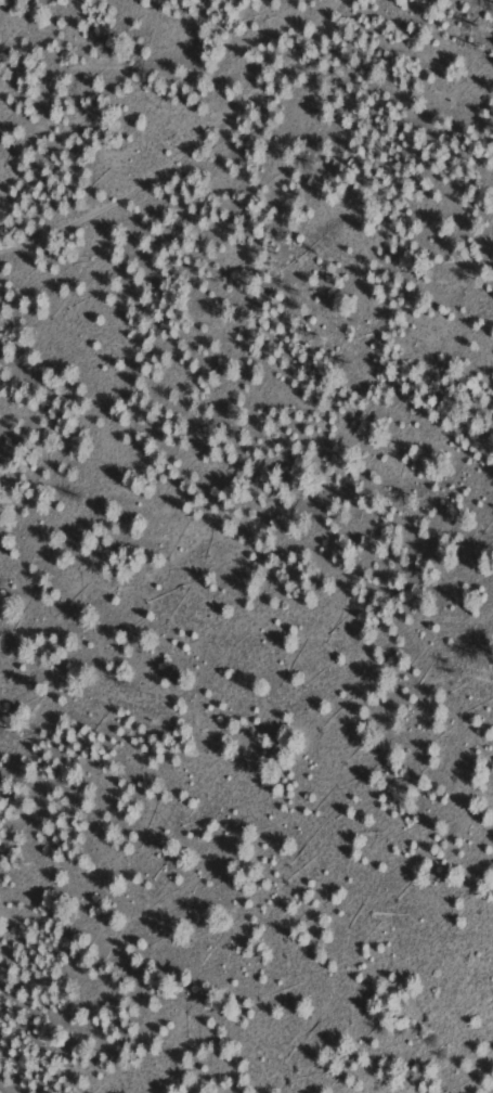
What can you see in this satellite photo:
road: (185, 150)

